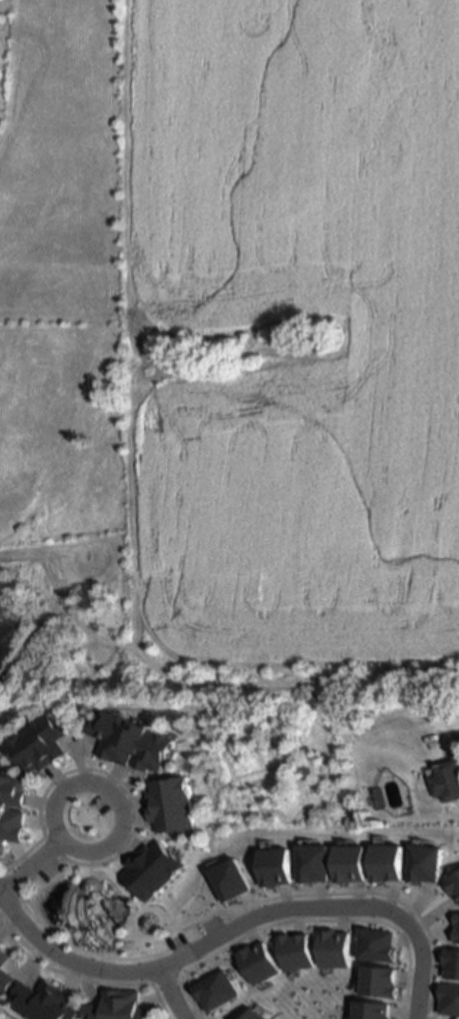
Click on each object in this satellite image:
road: (453, 733)
building: (132, 742)
building: (41, 744)
building: (445, 778)
road: (51, 804)
building: (170, 804)
building: (12, 818)
road: (27, 863)
building: (149, 868)
road: (321, 909)
building: (3, 956)
road: (65, 961)
building: (3, 977)
road: (164, 993)
building: (41, 1000)
building: (115, 1005)

